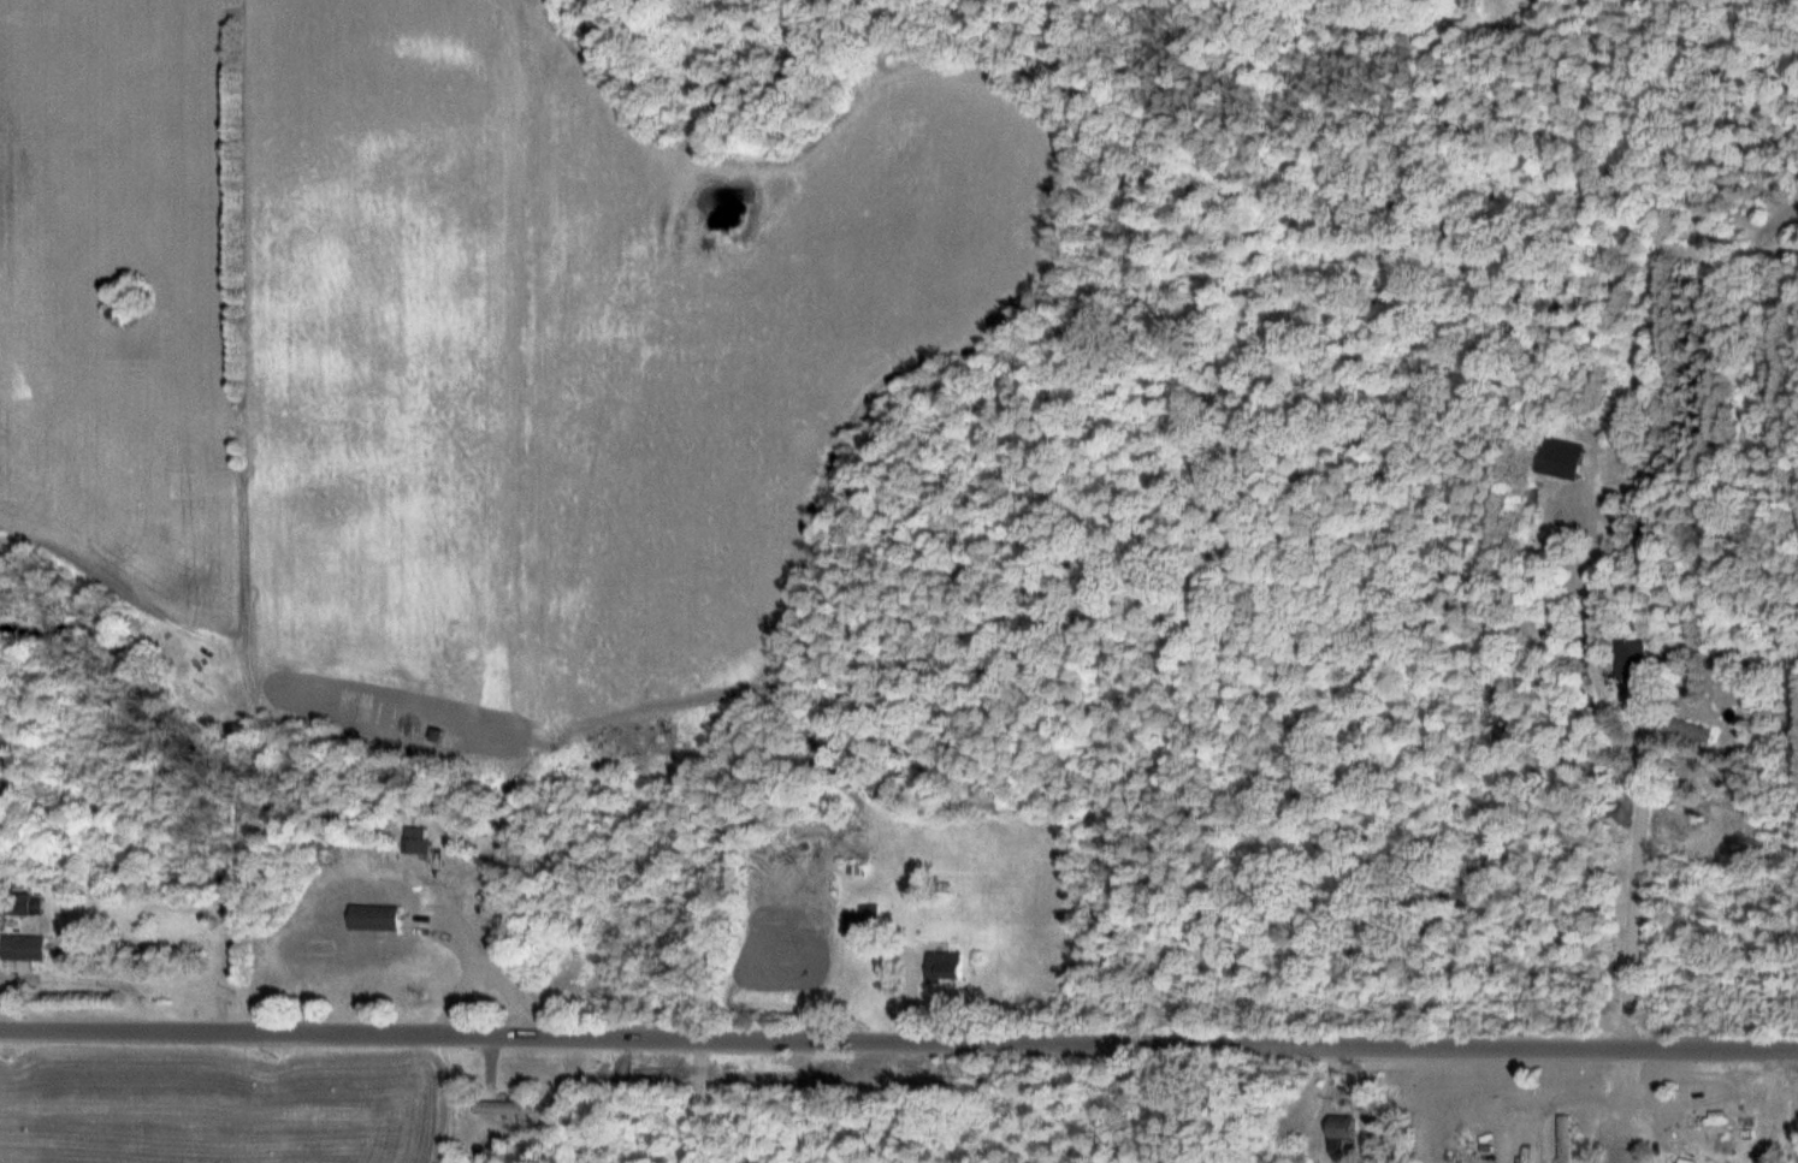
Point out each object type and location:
building: (1559, 458)
building: (1630, 659)
building: (1682, 728)
road: (53, 865)
road: (1637, 889)
building: (13, 904)
building: (373, 918)
building: (862, 921)
building: (24, 938)
building: (942, 967)
road: (898, 1034)
building: (503, 1108)
building: (1709, 1122)
building: (1341, 1134)
building: (1581, 1138)
building: (1565, 1139)

